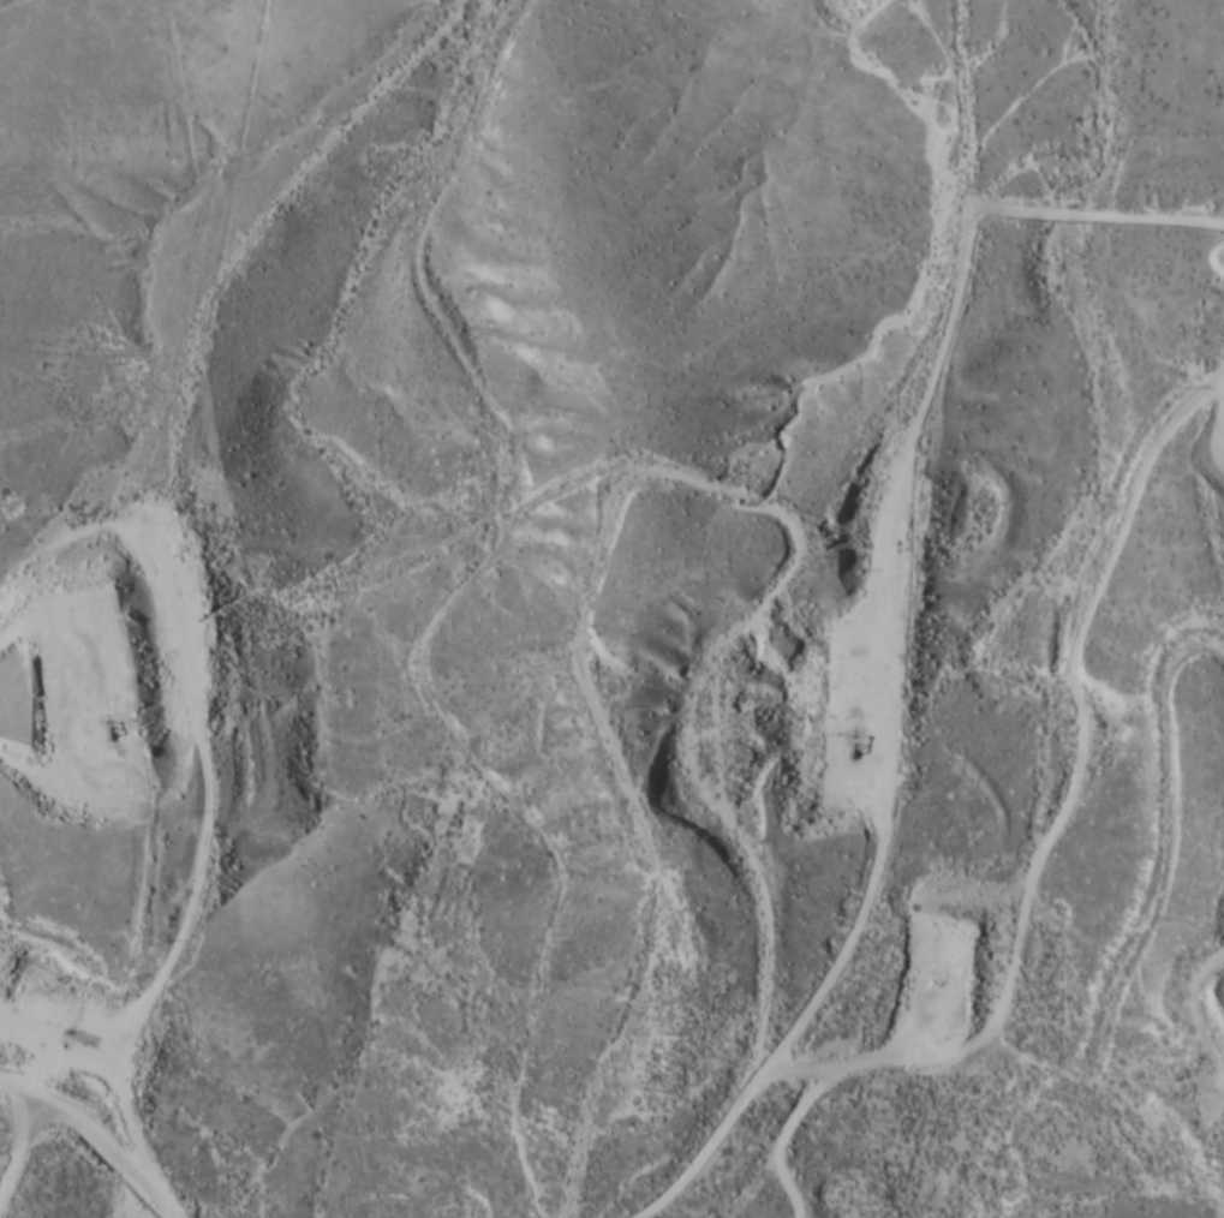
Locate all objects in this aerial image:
road: (64, 1177)

